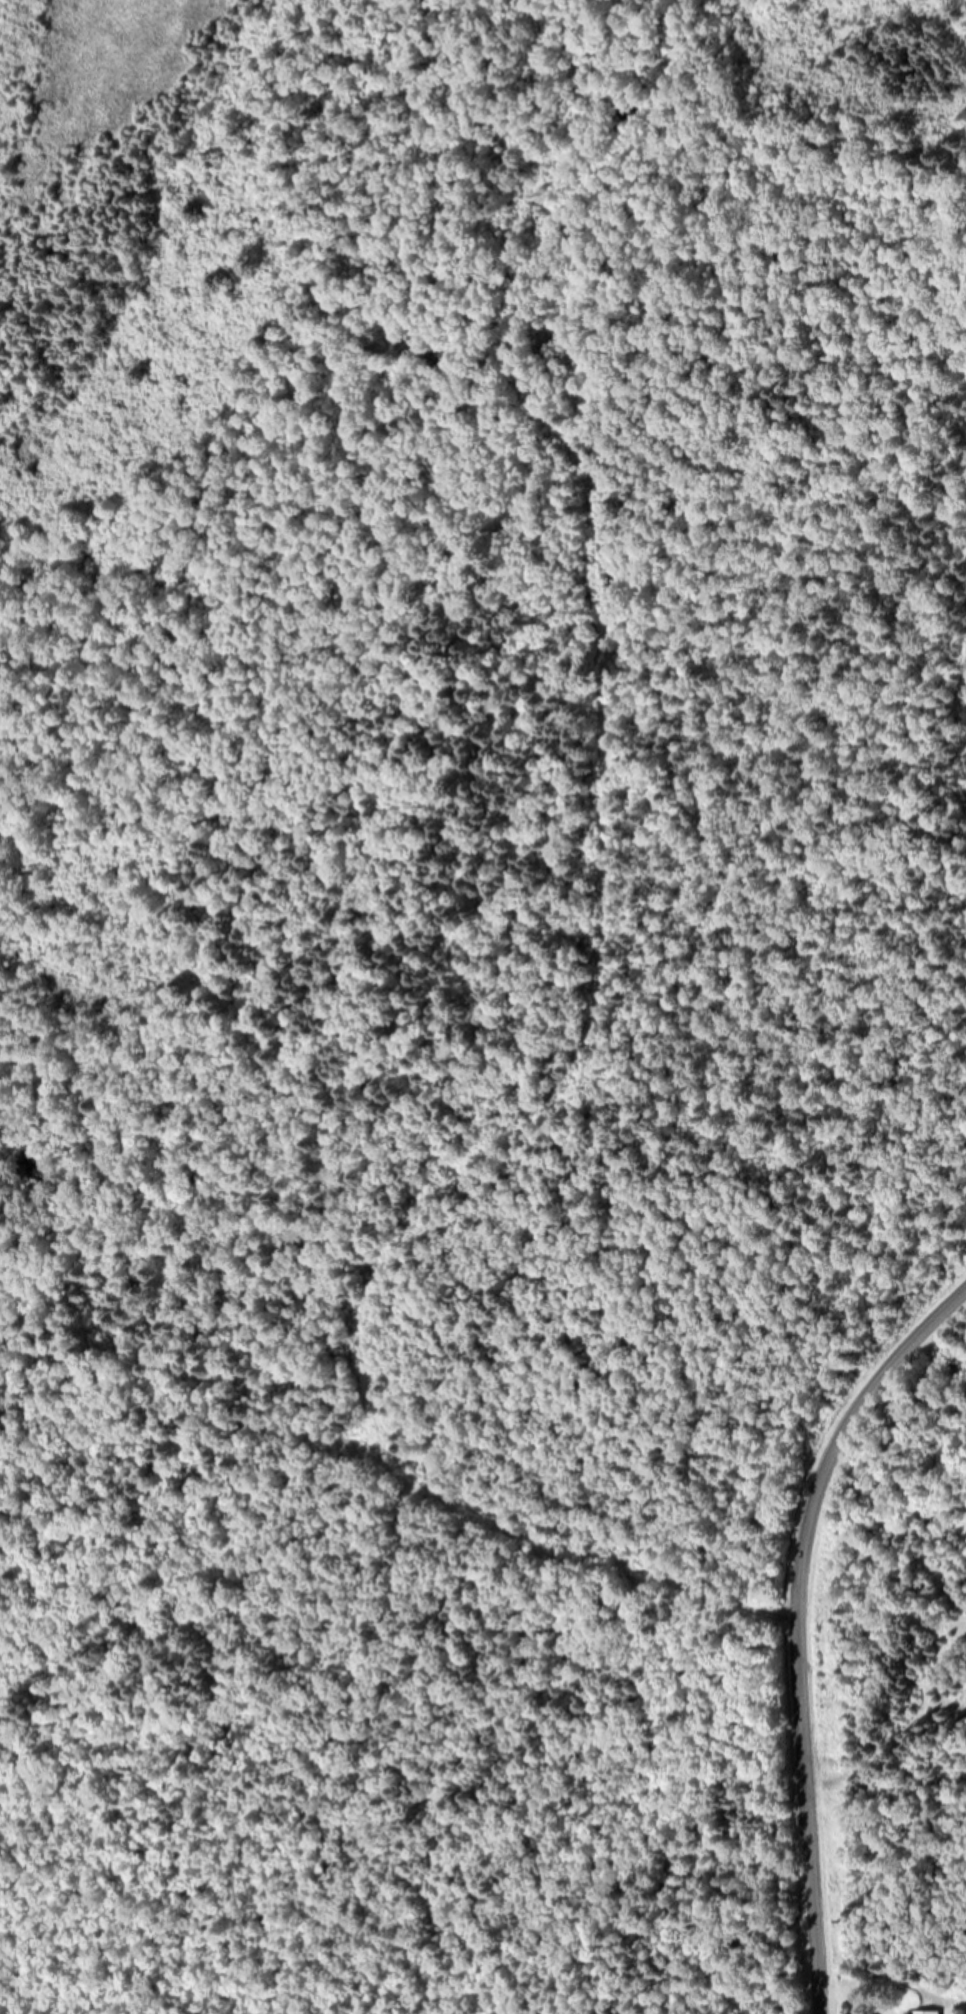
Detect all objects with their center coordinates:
road: (777, 1617)
road: (800, 1627)
building: (924, 2013)

